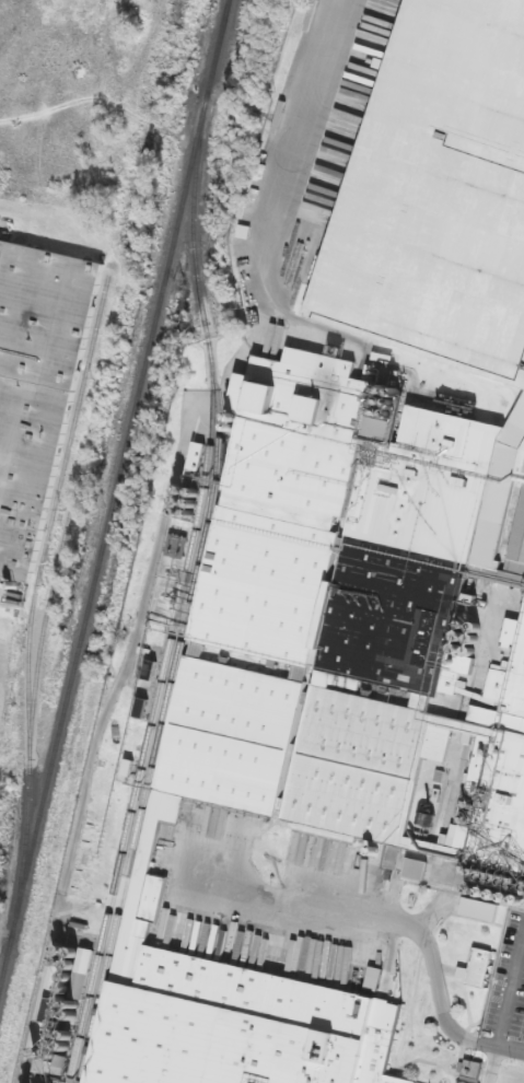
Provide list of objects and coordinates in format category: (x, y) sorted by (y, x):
building: (438, 196)
road: (270, 258)
building: (36, 389)
railway: (114, 494)
railway: (54, 510)
railway: (195, 594)
building: (341, 649)
railway: (33, 711)
railway: (149, 734)
building: (416, 870)
building: (479, 910)
road: (381, 917)
road: (508, 988)
road: (509, 1051)
road: (490, 1065)
building: (471, 1070)

